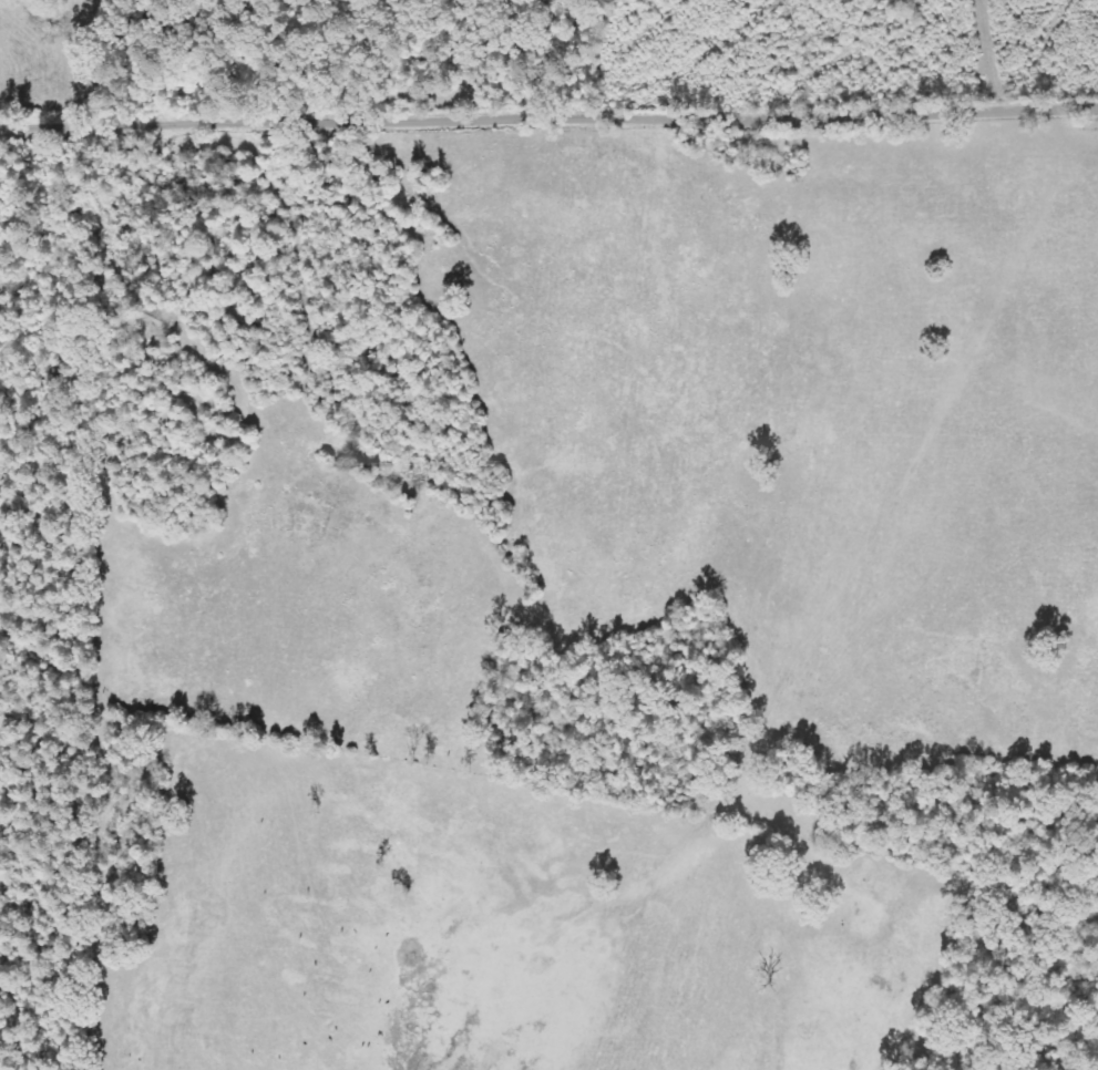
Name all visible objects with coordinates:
road: (548, 155)

